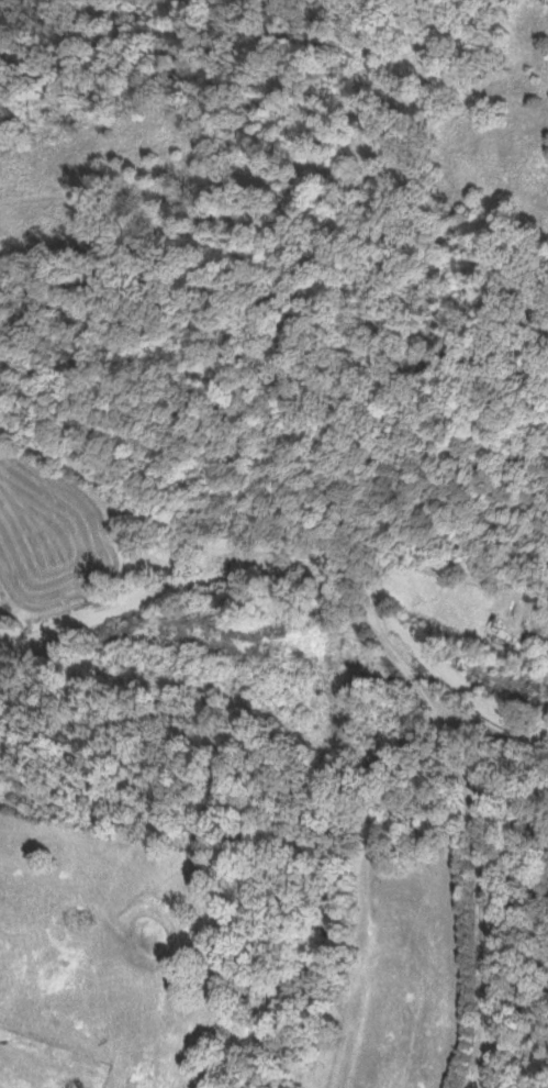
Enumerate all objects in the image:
road: (437, 570)
road: (387, 642)

